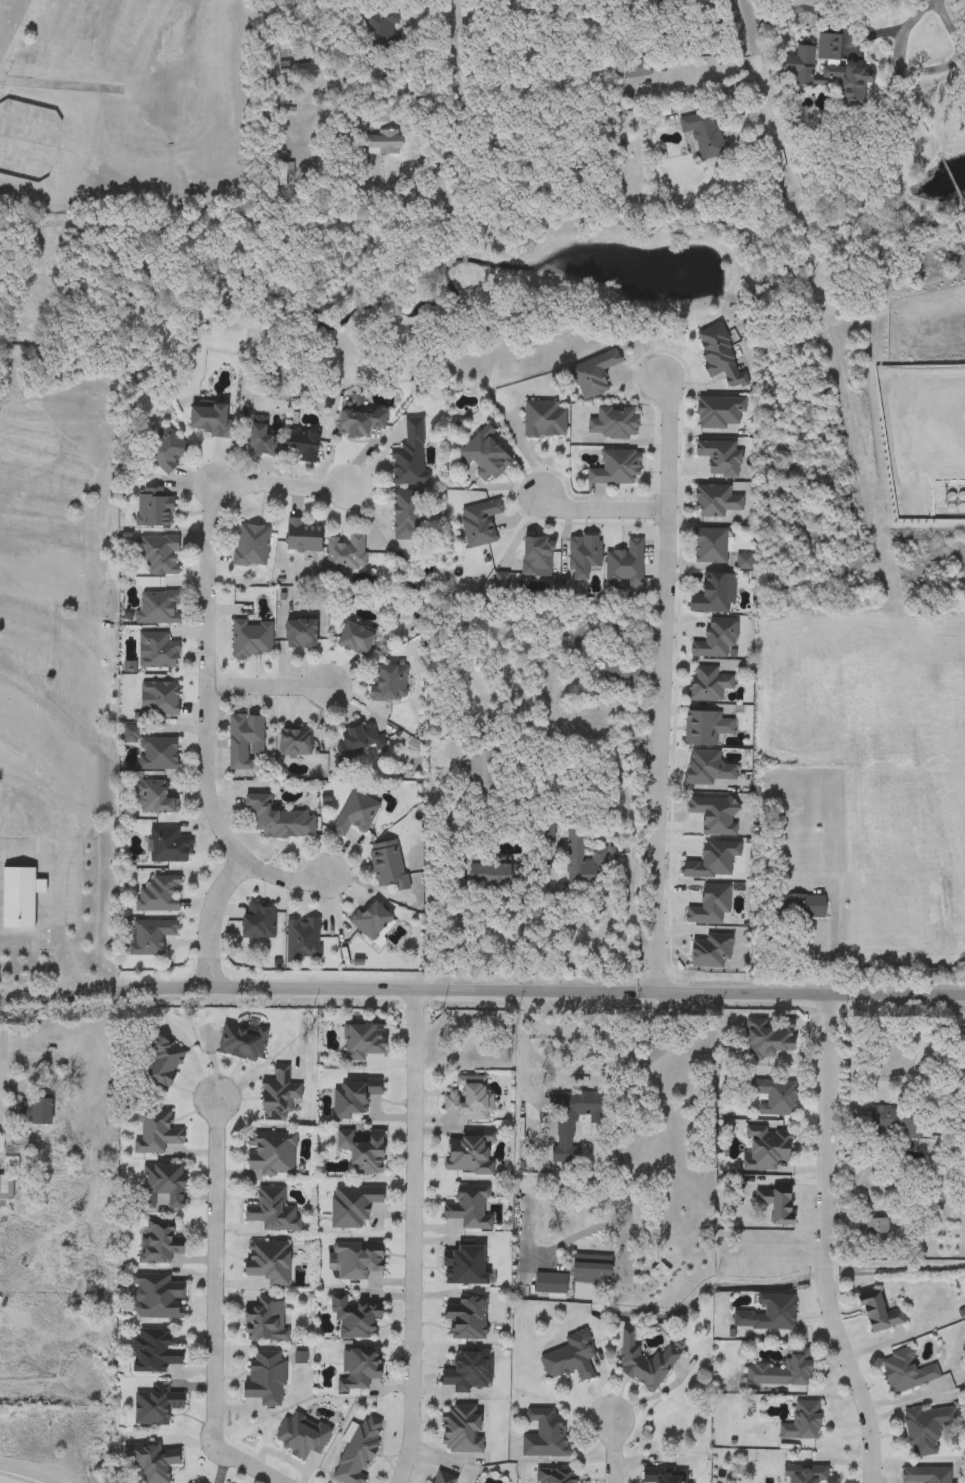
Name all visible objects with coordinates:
road: (12, 25)
building: (381, 32)
building: (831, 64)
building: (800, 67)
building: (638, 69)
road: (919, 71)
road: (762, 72)
road: (467, 74)
road: (718, 91)
building: (705, 133)
building: (385, 145)
building: (284, 173)
building: (210, 420)
building: (360, 422)
building: (613, 424)
building: (264, 442)
building: (301, 446)
building: (167, 451)
building: (410, 457)
building: (484, 458)
building: (617, 468)
road: (283, 469)
building: (154, 508)
road: (601, 510)
building: (408, 516)
building: (480, 523)
building: (304, 536)
building: (710, 546)
building: (251, 547)
building: (346, 553)
building: (158, 554)
building: (537, 556)
building: (584, 556)
building: (744, 563)
building: (625, 564)
building: (715, 595)
building: (158, 608)
building: (301, 634)
building: (252, 640)
building: (356, 640)
building: (157, 652)
road: (208, 673)
building: (621, 677)
road: (659, 682)
road: (271, 684)
building: (390, 684)
building: (709, 685)
building: (161, 698)
building: (706, 728)
building: (244, 740)
building: (294, 742)
building: (357, 743)
building: (155, 752)
building: (709, 767)
building: (483, 774)
building: (154, 797)
building: (356, 813)
building: (278, 819)
building: (169, 845)
building: (583, 861)
building: (388, 864)
road: (282, 874)
building: (497, 877)
building: (159, 894)
building: (18, 897)
road: (57, 897)
building: (803, 906)
road: (211, 916)
building: (371, 919)
building: (258, 921)
road: (461, 928)
building: (151, 936)
building: (302, 939)
road: (831, 947)
road: (482, 989)
building: (768, 1038)
building: (242, 1040)
building: (364, 1043)
road: (2, 1060)
building: (161, 1062)
road: (562, 1078)
building: (278, 1095)
building: (774, 1096)
building: (353, 1097)
building: (469, 1100)
road: (619, 1107)
building: (34, 1111)
building: (571, 1122)
building: (892, 1122)
building: (156, 1132)
building: (767, 1149)
building: (363, 1150)
building: (271, 1153)
building: (470, 1153)
building: (165, 1182)
building: (778, 1203)
building: (470, 1207)
building: (357, 1208)
building: (273, 1211)
building: (876, 1227)
road: (413, 1236)
road: (830, 1242)
building: (159, 1245)
building: (268, 1261)
building: (358, 1261)
building: (465, 1264)
road: (215, 1272)
building: (592, 1273)
building: (550, 1284)
building: (157, 1297)
building: (880, 1313)
building: (767, 1314)
building: (465, 1317)
building: (354, 1318)
building: (265, 1319)
building: (153, 1352)
building: (570, 1358)
building: (644, 1362)
building: (359, 1368)
building: (782, 1370)
building: (468, 1371)
building: (906, 1372)
building: (265, 1377)
building: (154, 1407)
building: (803, 1421)
building: (926, 1428)
building: (461, 1429)
building: (545, 1433)
building: (358, 1450)
road: (613, 1451)
building: (152, 1461)
road: (248, 1464)
building: (806, 1473)
building: (666, 1475)
building: (925, 1475)
building: (557, 1476)
building: (444, 1478)
road: (2, 1482)
building: (193, 1482)

